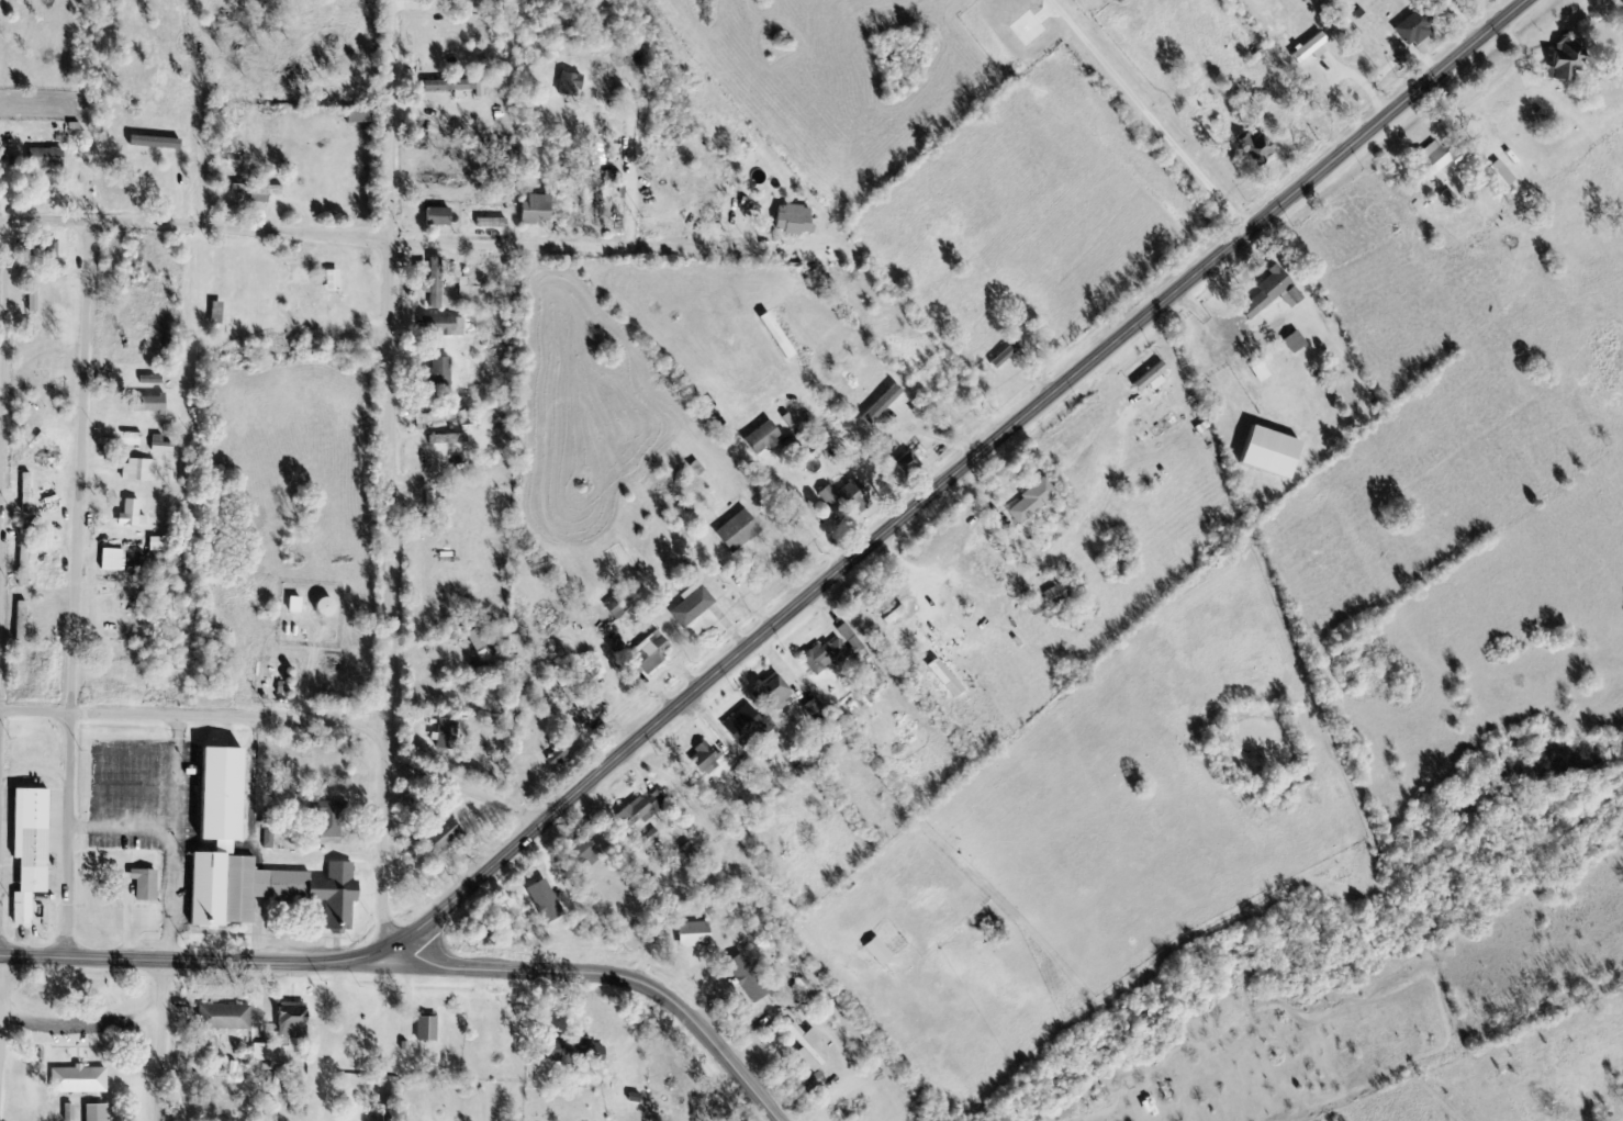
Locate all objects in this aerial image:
building: (1622, 22)
building: (1414, 27)
building: (1563, 59)
building: (568, 85)
building: (358, 115)
building: (433, 120)
road: (390, 122)
building: (1254, 148)
building: (1436, 158)
building: (48, 159)
building: (1497, 176)
building: (440, 178)
building: (257, 191)
road: (628, 191)
building: (570, 205)
building: (534, 210)
building: (436, 216)
building: (712, 216)
building: (793, 220)
road: (4, 222)
road: (48, 222)
road: (426, 245)
building: (434, 282)
building: (1264, 292)
building: (1290, 296)
building: (36, 304)
building: (441, 325)
building: (1292, 341)
road: (2, 347)
building: (438, 373)
road: (1030, 407)
building: (961, 417)
building: (821, 439)
building: (910, 458)
building: (141, 472)
building: (29, 494)
building: (846, 496)
building: (1030, 501)
building: (135, 516)
building: (735, 531)
railway: (64, 560)
building: (26, 565)
road: (76, 588)
building: (1056, 593)
road: (387, 602)
building: (690, 607)
building: (897, 615)
building: (23, 624)
building: (475, 638)
building: (648, 653)
building: (822, 654)
building: (567, 686)
building: (770, 692)
road: (286, 717)
building: (745, 724)
building: (557, 749)
building: (703, 759)
building: (639, 810)
building: (208, 819)
building: (327, 819)
building: (438, 833)
building: (583, 850)
building: (36, 851)
building: (147, 886)
building: (692, 934)
road: (295, 962)
road: (609, 977)
building: (747, 982)
building: (804, 991)
road: (0, 995)
building: (217, 1005)
building: (433, 1019)
building: (290, 1020)
road: (80, 1027)
road: (160, 1041)
building: (806, 1043)
building: (575, 1051)
building: (82, 1081)
building: (100, 1113)

